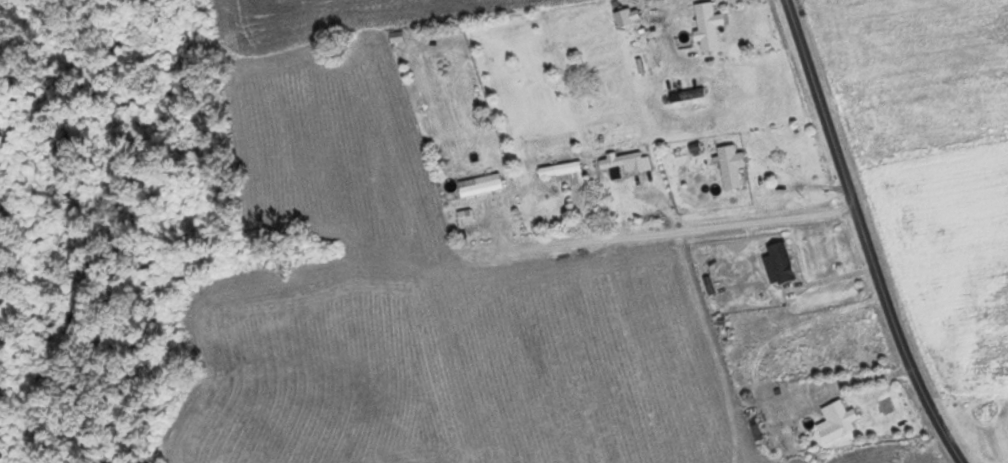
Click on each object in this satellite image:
building: (623, 19)
building: (706, 26)
building: (628, 161)
building: (730, 165)
building: (562, 170)
building: (480, 187)
road: (865, 236)
building: (781, 261)
building: (841, 416)

